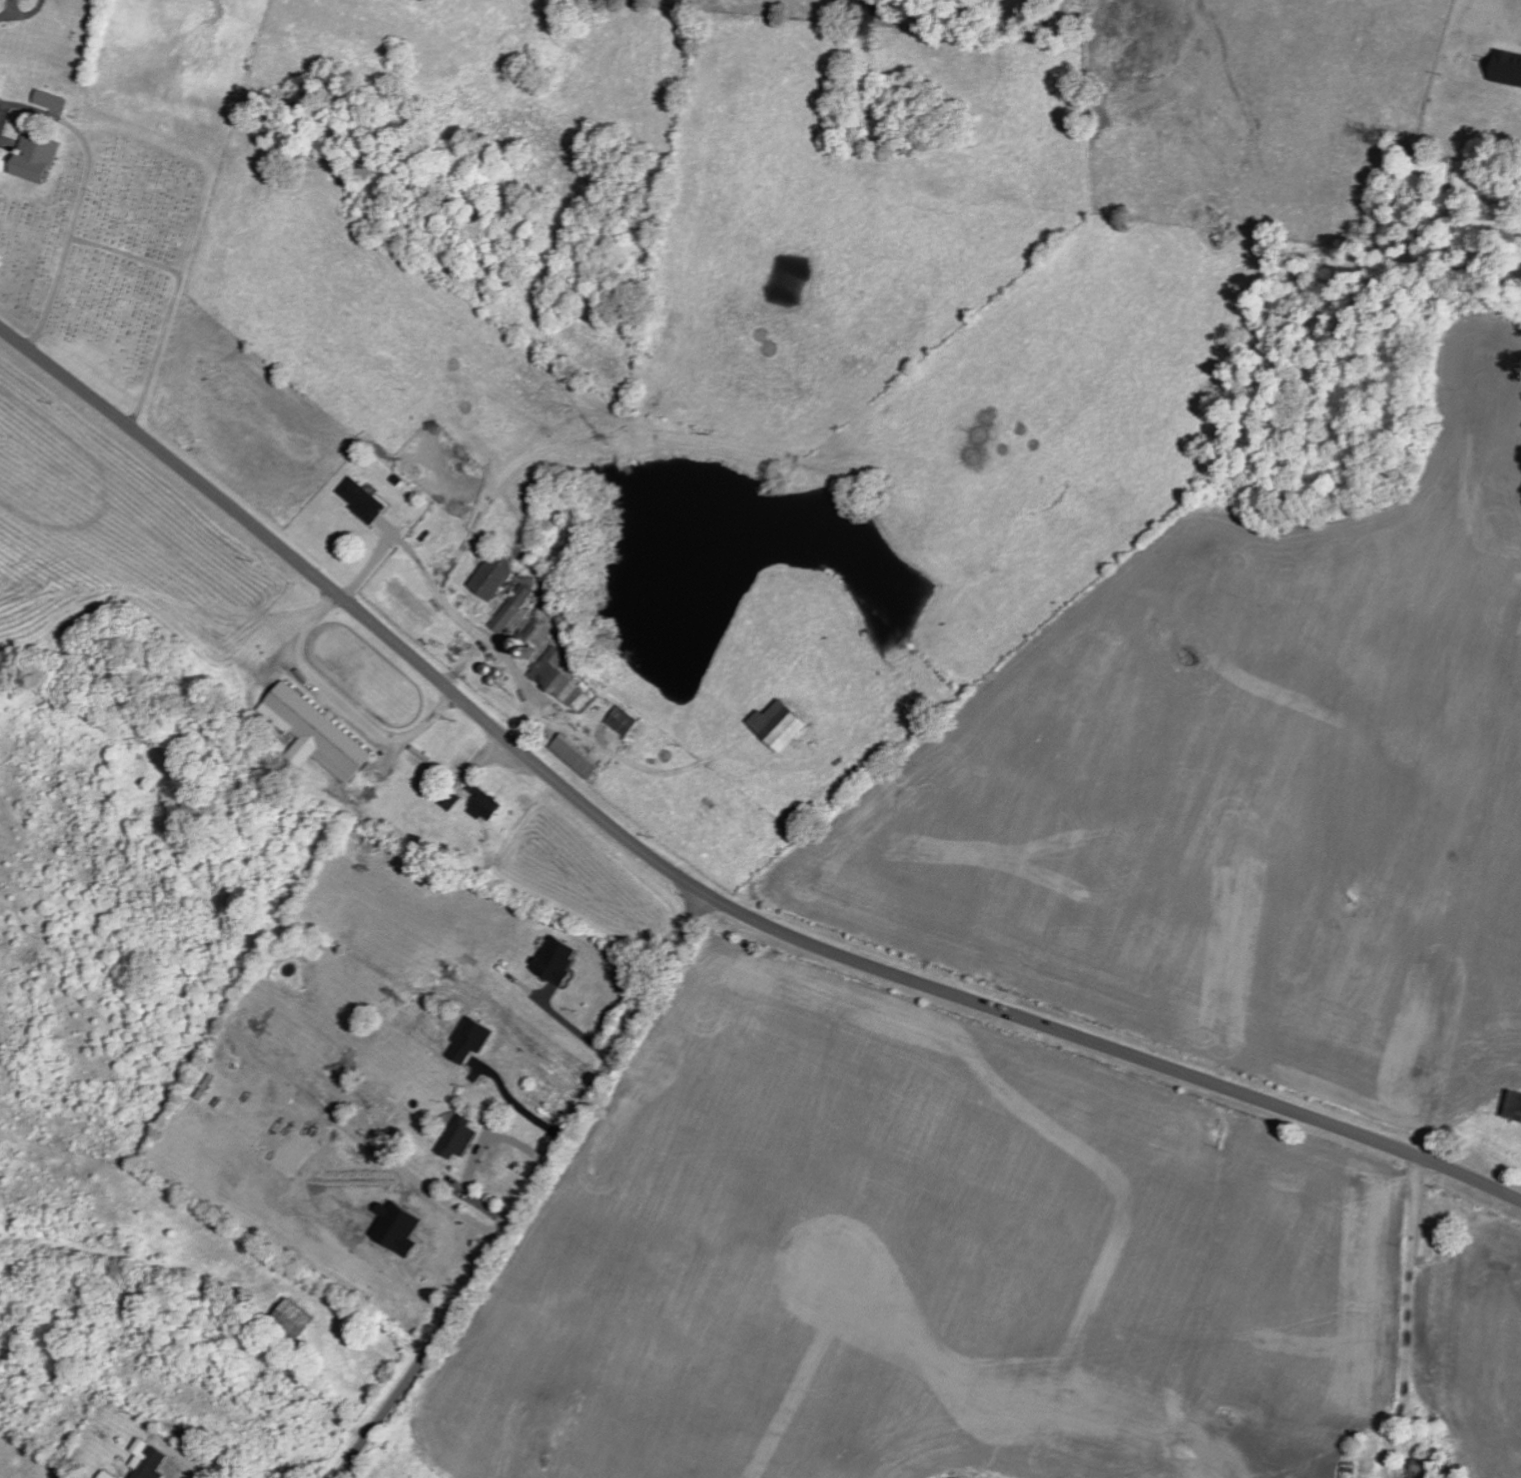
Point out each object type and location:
road: (24, 14)
building: (1505, 67)
building: (48, 100)
building: (31, 157)
park: (107, 251)
building: (359, 500)
building: (490, 575)
building: (509, 608)
road: (451, 616)
building: (555, 678)
road: (342, 702)
building: (620, 720)
building: (775, 725)
building: (312, 733)
building: (572, 756)
building: (483, 806)
road: (692, 884)
road: (699, 914)
building: (553, 960)
road: (573, 1028)
building: (471, 1039)
building: (1512, 1104)
road: (517, 1105)
building: (455, 1138)
road: (533, 1187)
road: (1407, 1319)
building: (145, 1460)
building: (1423, 1466)
building: (104, 1474)

